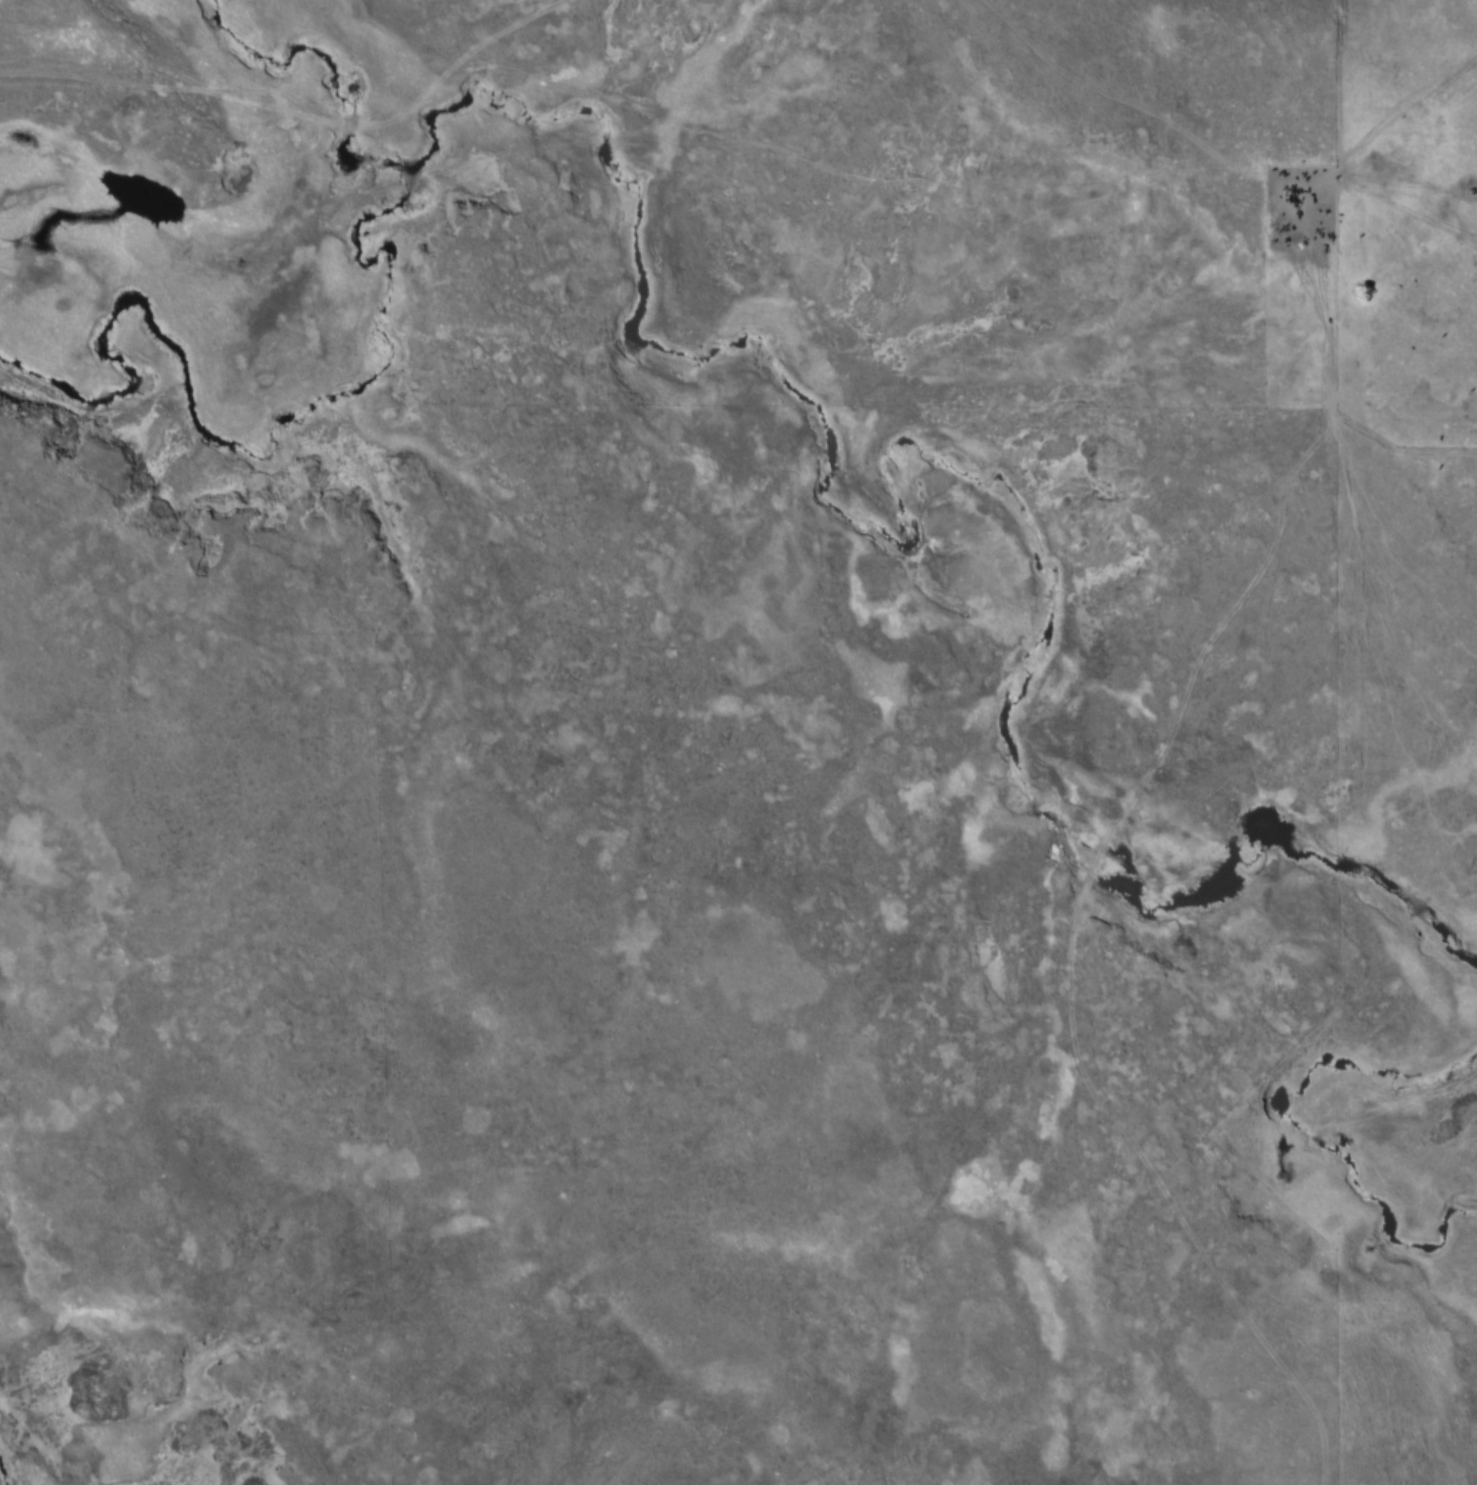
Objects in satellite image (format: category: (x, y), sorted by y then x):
road: (310, 107)
road: (1216, 155)

